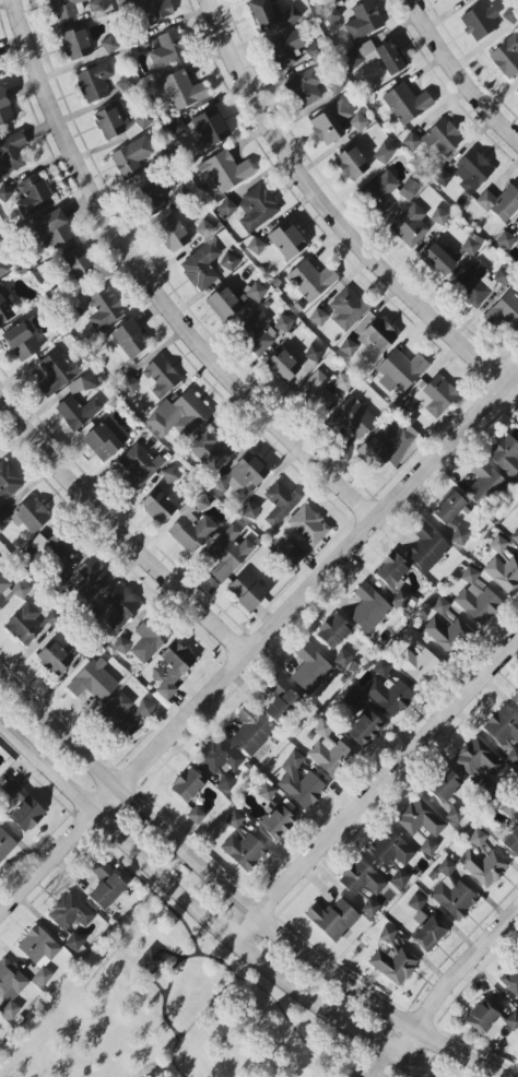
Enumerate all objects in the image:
building: (450, 0)
building: (64, 8)
building: (151, 10)
building: (271, 15)
building: (363, 21)
building: (480, 22)
building: (75, 44)
building: (109, 45)
building: (285, 49)
building: (376, 56)
building: (506, 57)
road: (458, 74)
building: (94, 82)
building: (304, 88)
building: (183, 91)
building: (517, 92)
building: (407, 103)
building: (4, 109)
building: (119, 122)
building: (330, 122)
building: (357, 122)
building: (177, 128)
building: (210, 128)
building: (442, 137)
building: (412, 141)
building: (11, 153)
building: (384, 153)
building: (130, 158)
building: (351, 163)
building: (224, 171)
building: (472, 171)
building: (439, 176)
building: (4, 191)
building: (387, 192)
building: (34, 196)
building: (152, 197)
building: (501, 203)
building: (257, 208)
building: (438, 216)
road: (334, 218)
building: (410, 226)
building: (54, 228)
building: (515, 232)
building: (173, 235)
building: (286, 240)
building: (255, 247)
building: (448, 256)
building: (228, 262)
building: (79, 264)
building: (3, 267)
building: (201, 267)
building: (502, 276)
building: (310, 280)
building: (473, 285)
road: (151, 287)
building: (256, 293)
building: (226, 303)
building: (4, 305)
building: (99, 308)
building: (348, 309)
building: (503, 311)
building: (318, 317)
building: (283, 323)
building: (255, 333)
building: (377, 335)
building: (22, 341)
building: (127, 341)
building: (348, 347)
building: (313, 353)
building: (282, 366)
building: (400, 370)
building: (56, 372)
building: (82, 384)
building: (129, 384)
building: (315, 392)
building: (429, 398)
building: (76, 412)
building: (179, 415)
building: (350, 418)
building: (104, 439)
building: (209, 449)
building: (384, 449)
building: (506, 457)
building: (139, 466)
building: (242, 474)
building: (8, 482)
building: (483, 483)
building: (200, 504)
building: (278, 504)
building: (157, 506)
building: (251, 510)
building: (30, 516)
building: (451, 517)
building: (517, 517)
building: (3, 521)
building: (308, 525)
road: (115, 530)
building: (191, 532)
building: (515, 536)
building: (61, 546)
building: (427, 547)
building: (227, 553)
building: (503, 567)
building: (393, 571)
building: (91, 577)
building: (11, 591)
building: (247, 591)
building: (476, 599)
building: (439, 606)
building: (119, 607)
building: (368, 608)
building: (333, 631)
building: (446, 634)
building: (146, 641)
road: (255, 641)
building: (121, 646)
building: (54, 658)
building: (343, 659)
building: (417, 665)
building: (172, 670)
building: (310, 670)
building: (94, 682)
building: (388, 690)
building: (352, 698)
building: (280, 699)
building: (516, 702)
building: (125, 713)
building: (364, 727)
building: (322, 729)
building: (251, 732)
building: (505, 732)
building: (329, 756)
building: (220, 761)
building: (293, 761)
building: (479, 764)
building: (187, 785)
building: (302, 789)
building: (267, 792)
road: (376, 793)
building: (447, 794)
building: (23, 807)
building: (234, 819)
building: (276, 822)
building: (422, 825)
building: (476, 839)
building: (511, 842)
building: (5, 843)
building: (390, 848)
building: (483, 866)
building: (400, 878)
building: (362, 880)
building: (106, 886)
road: (148, 886)
building: (452, 892)
road: (236, 898)
building: (416, 902)
building: (370, 908)
building: (70, 912)
road: (203, 915)
building: (332, 920)
building: (427, 932)
building: (387, 934)
building: (74, 942)
road: (168, 951)
building: (39, 952)
building: (150, 961)
building: (393, 966)
road: (173, 968)
building: (511, 980)
road: (153, 982)
road: (251, 983)
road: (452, 983)
building: (10, 987)
building: (482, 1017)
park: (180, 1018)
building: (511, 1021)
road: (380, 1064)
parking lot: (361, 1074)

